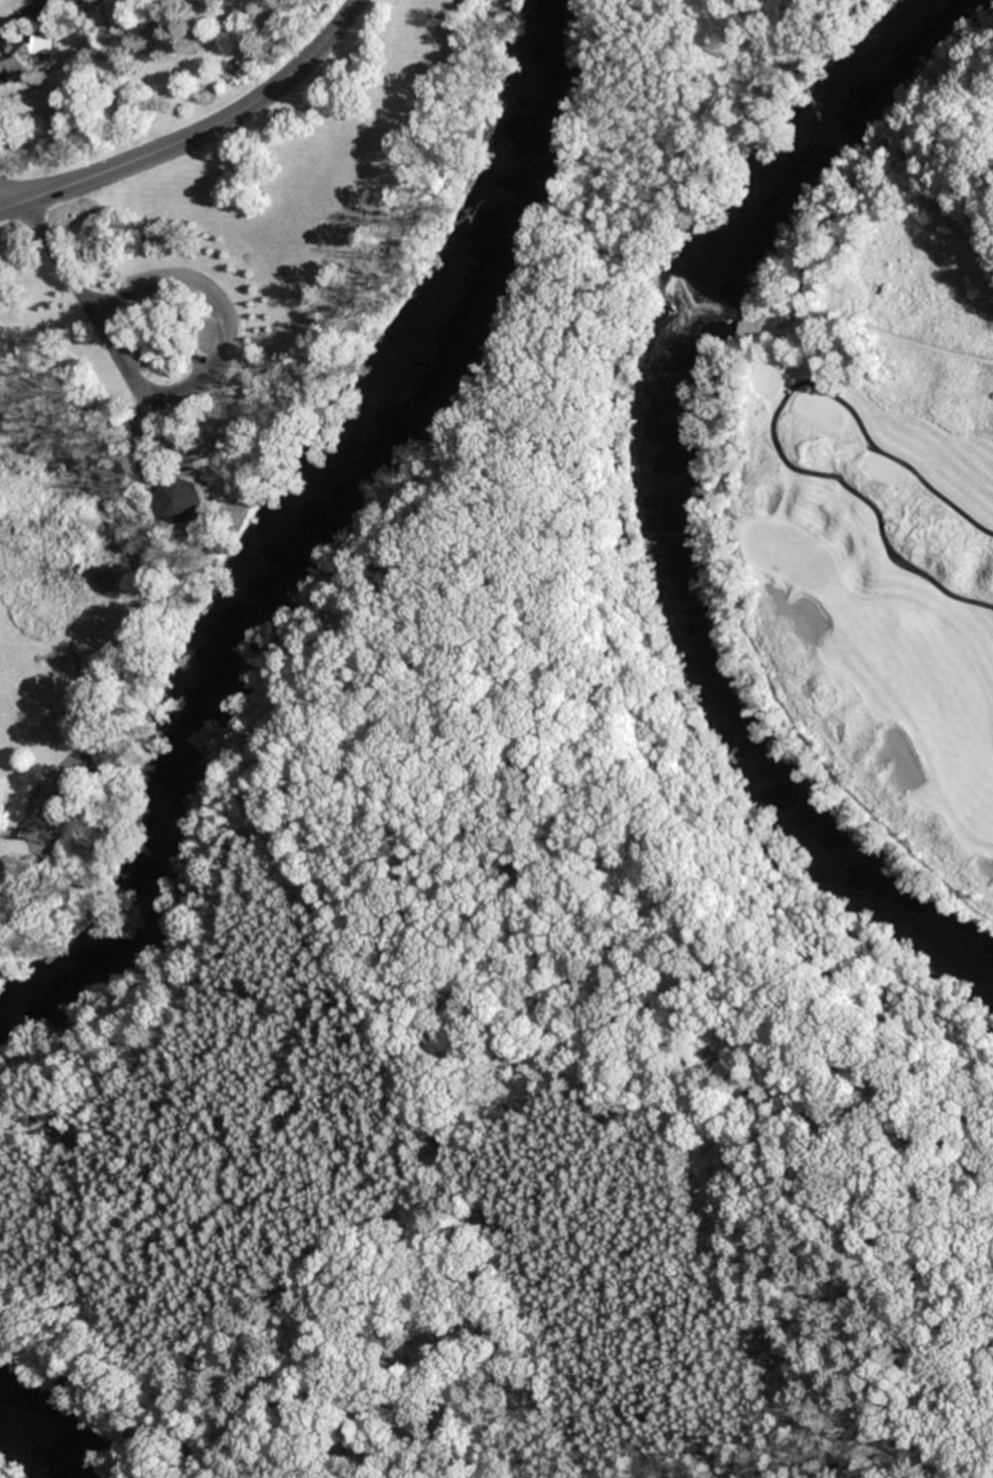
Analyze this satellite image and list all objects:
road: (23, 19)
building: (25, 58)
road: (197, 135)
road: (11, 197)
road: (171, 392)
road: (837, 478)
park: (879, 485)
road: (920, 487)
river: (693, 499)
building: (178, 500)
river: (306, 529)
park: (789, 554)
river: (43, 1432)

